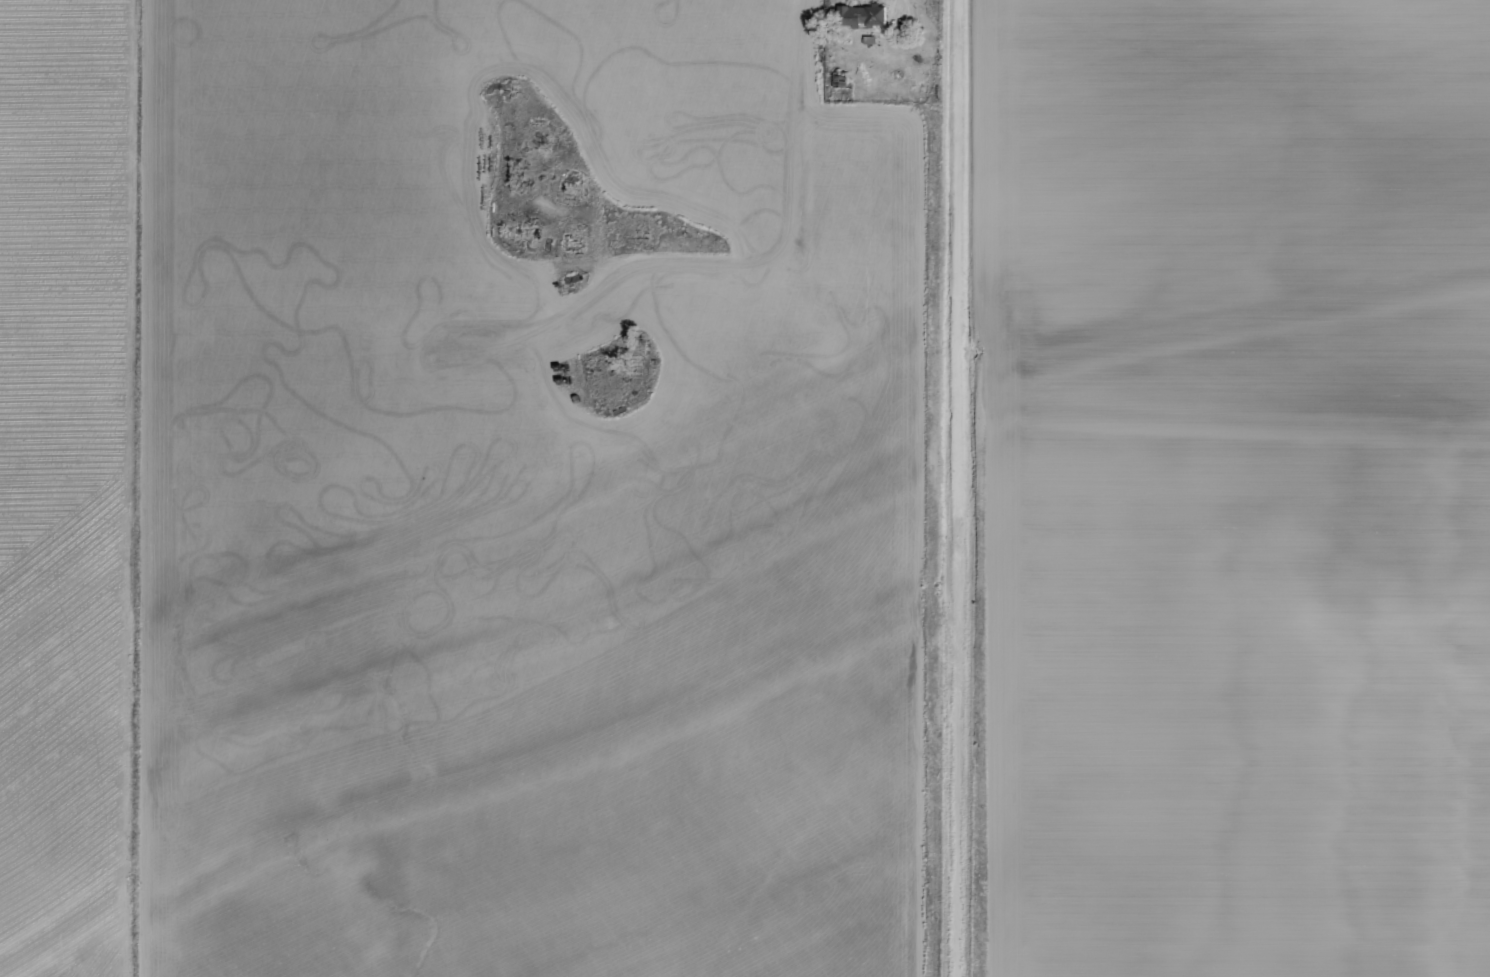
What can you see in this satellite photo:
road: (951, 488)

